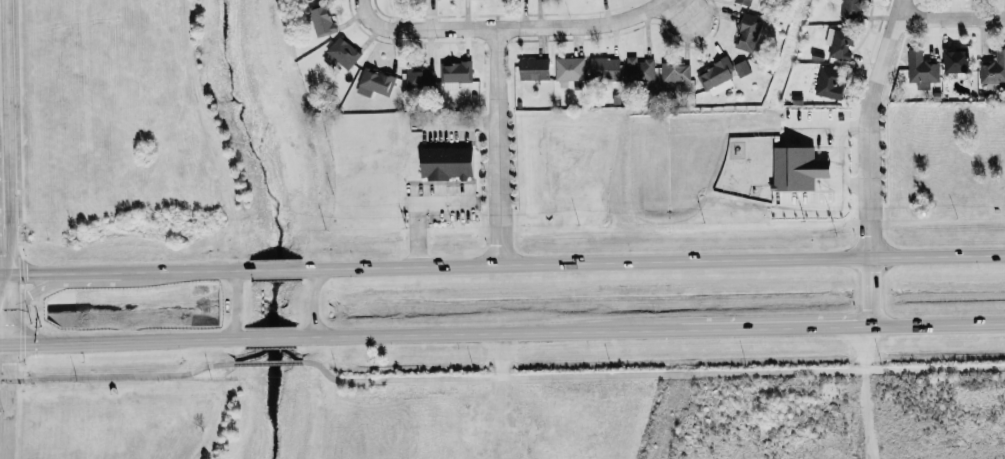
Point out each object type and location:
building: (755, 0)
building: (743, 2)
road: (375, 9)
building: (851, 9)
road: (955, 10)
road: (707, 11)
building: (321, 20)
road: (518, 30)
building: (747, 32)
building: (839, 43)
building: (341, 53)
building: (956, 61)
building: (533, 68)
building: (604, 68)
building: (741, 68)
building: (993, 68)
building: (569, 69)
building: (639, 69)
building: (922, 69)
building: (675, 72)
building: (455, 74)
building: (716, 74)
building: (419, 77)
building: (374, 83)
building: (828, 83)
road: (6, 129)
road: (502, 147)
road: (872, 160)
building: (446, 163)
building: (797, 168)
road: (652, 260)
road: (0, 265)
road: (275, 268)
road: (183, 269)
road: (59, 272)
traffic signals: (0, 273)
road: (58, 283)
road: (312, 302)
road: (236, 303)
traffic signals: (0, 304)
road: (0, 308)
road: (0, 313)
traffic signals: (1, 313)
road: (937, 324)
road: (773, 327)
road: (486, 333)
road: (269, 336)
road: (122, 340)
road: (0, 344)
traffic signals: (1, 344)
road: (268, 362)
road: (650, 373)
road: (118, 375)
road: (1, 401)

